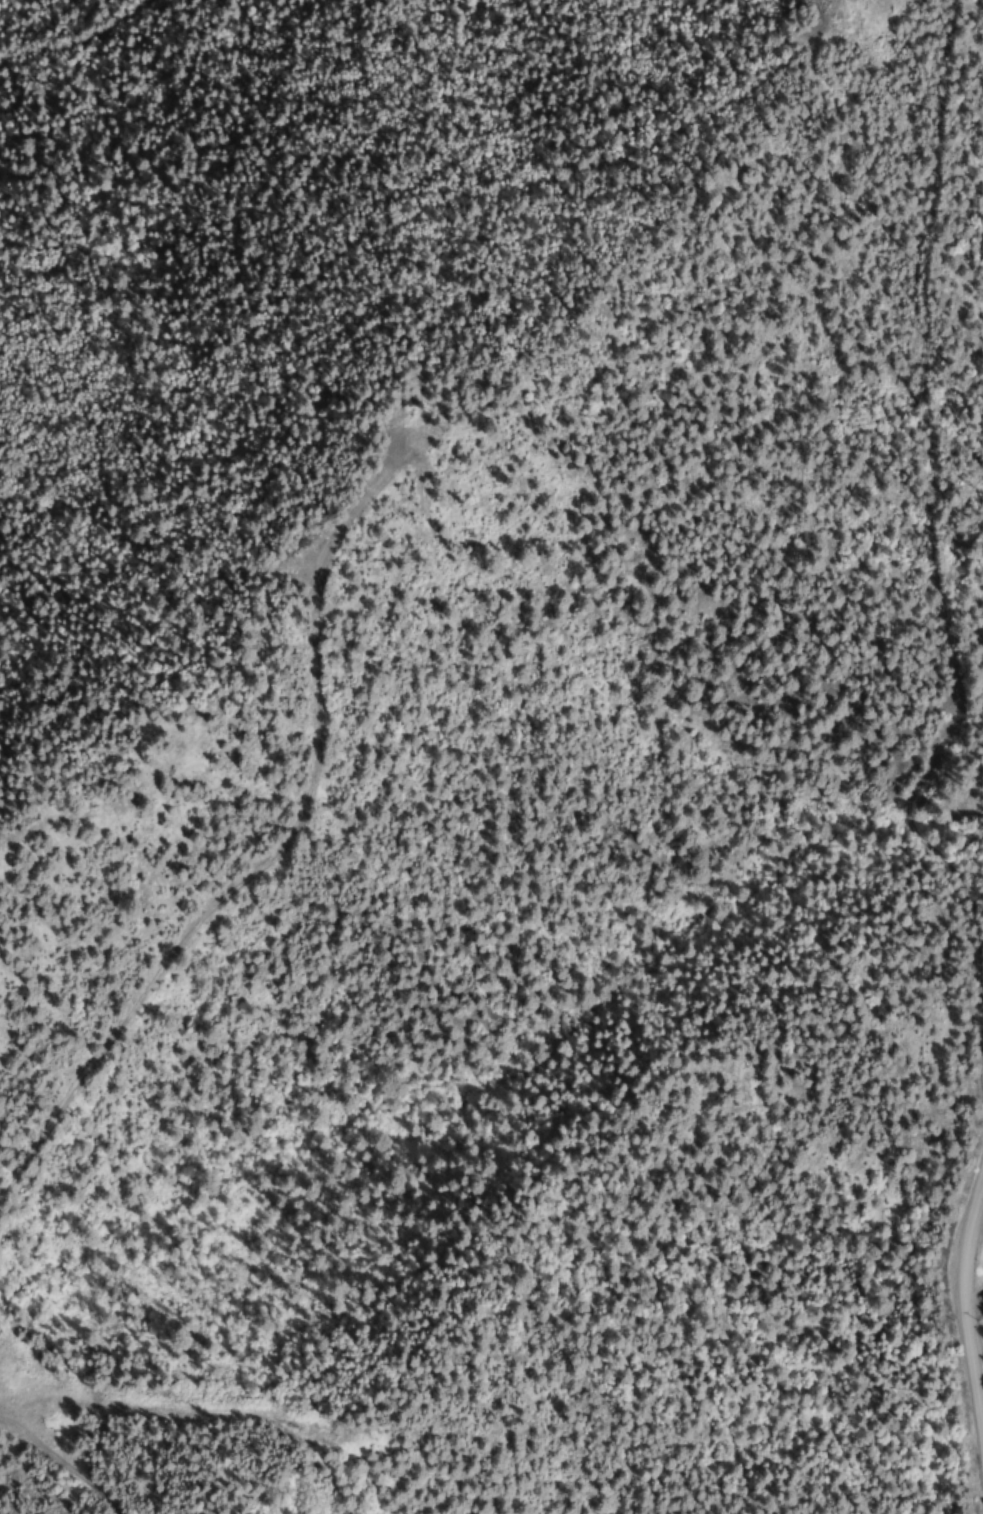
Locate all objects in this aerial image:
road: (968, 1313)

